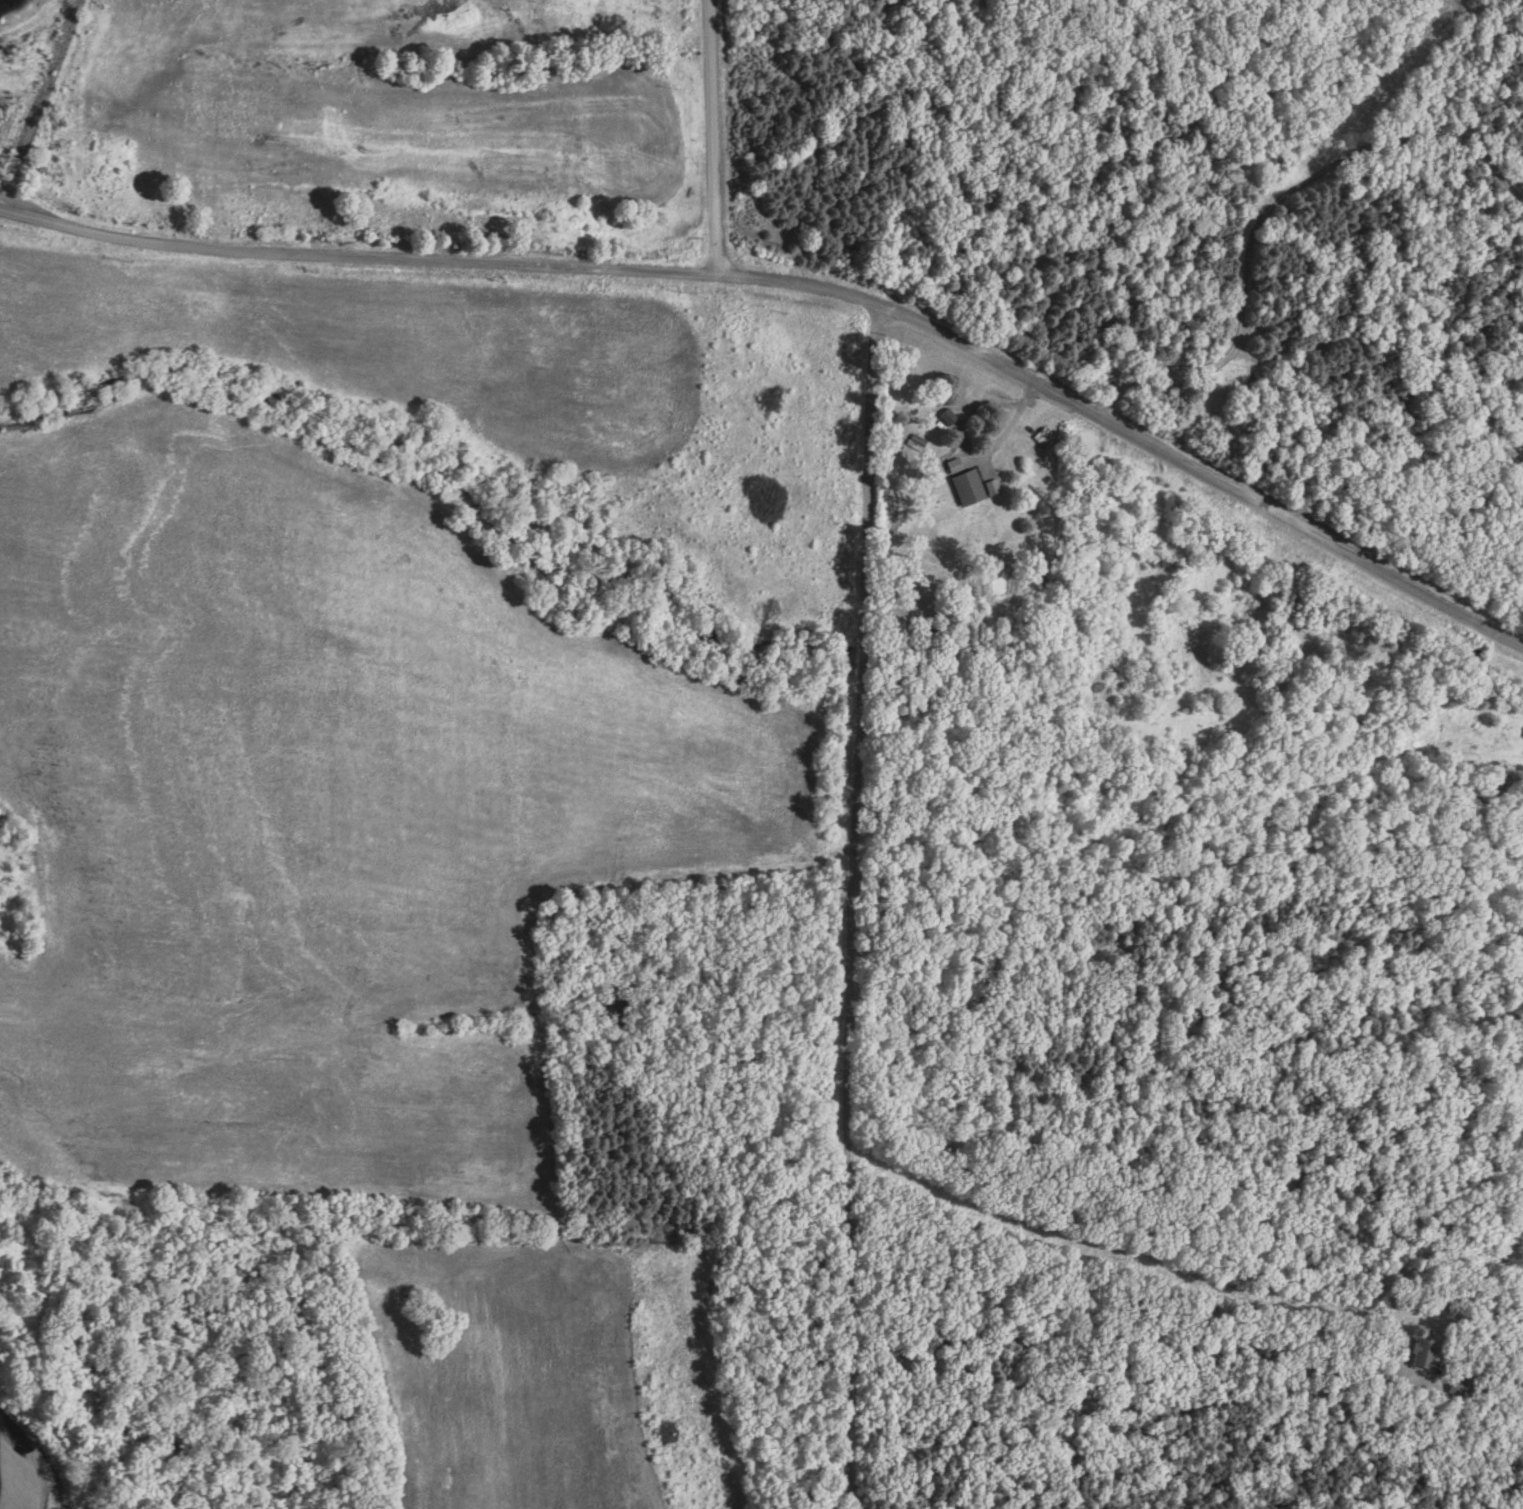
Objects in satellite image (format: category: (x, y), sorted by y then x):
road: (716, 136)
road: (812, 283)
building: (972, 487)
road: (854, 905)
road: (1128, 1416)

